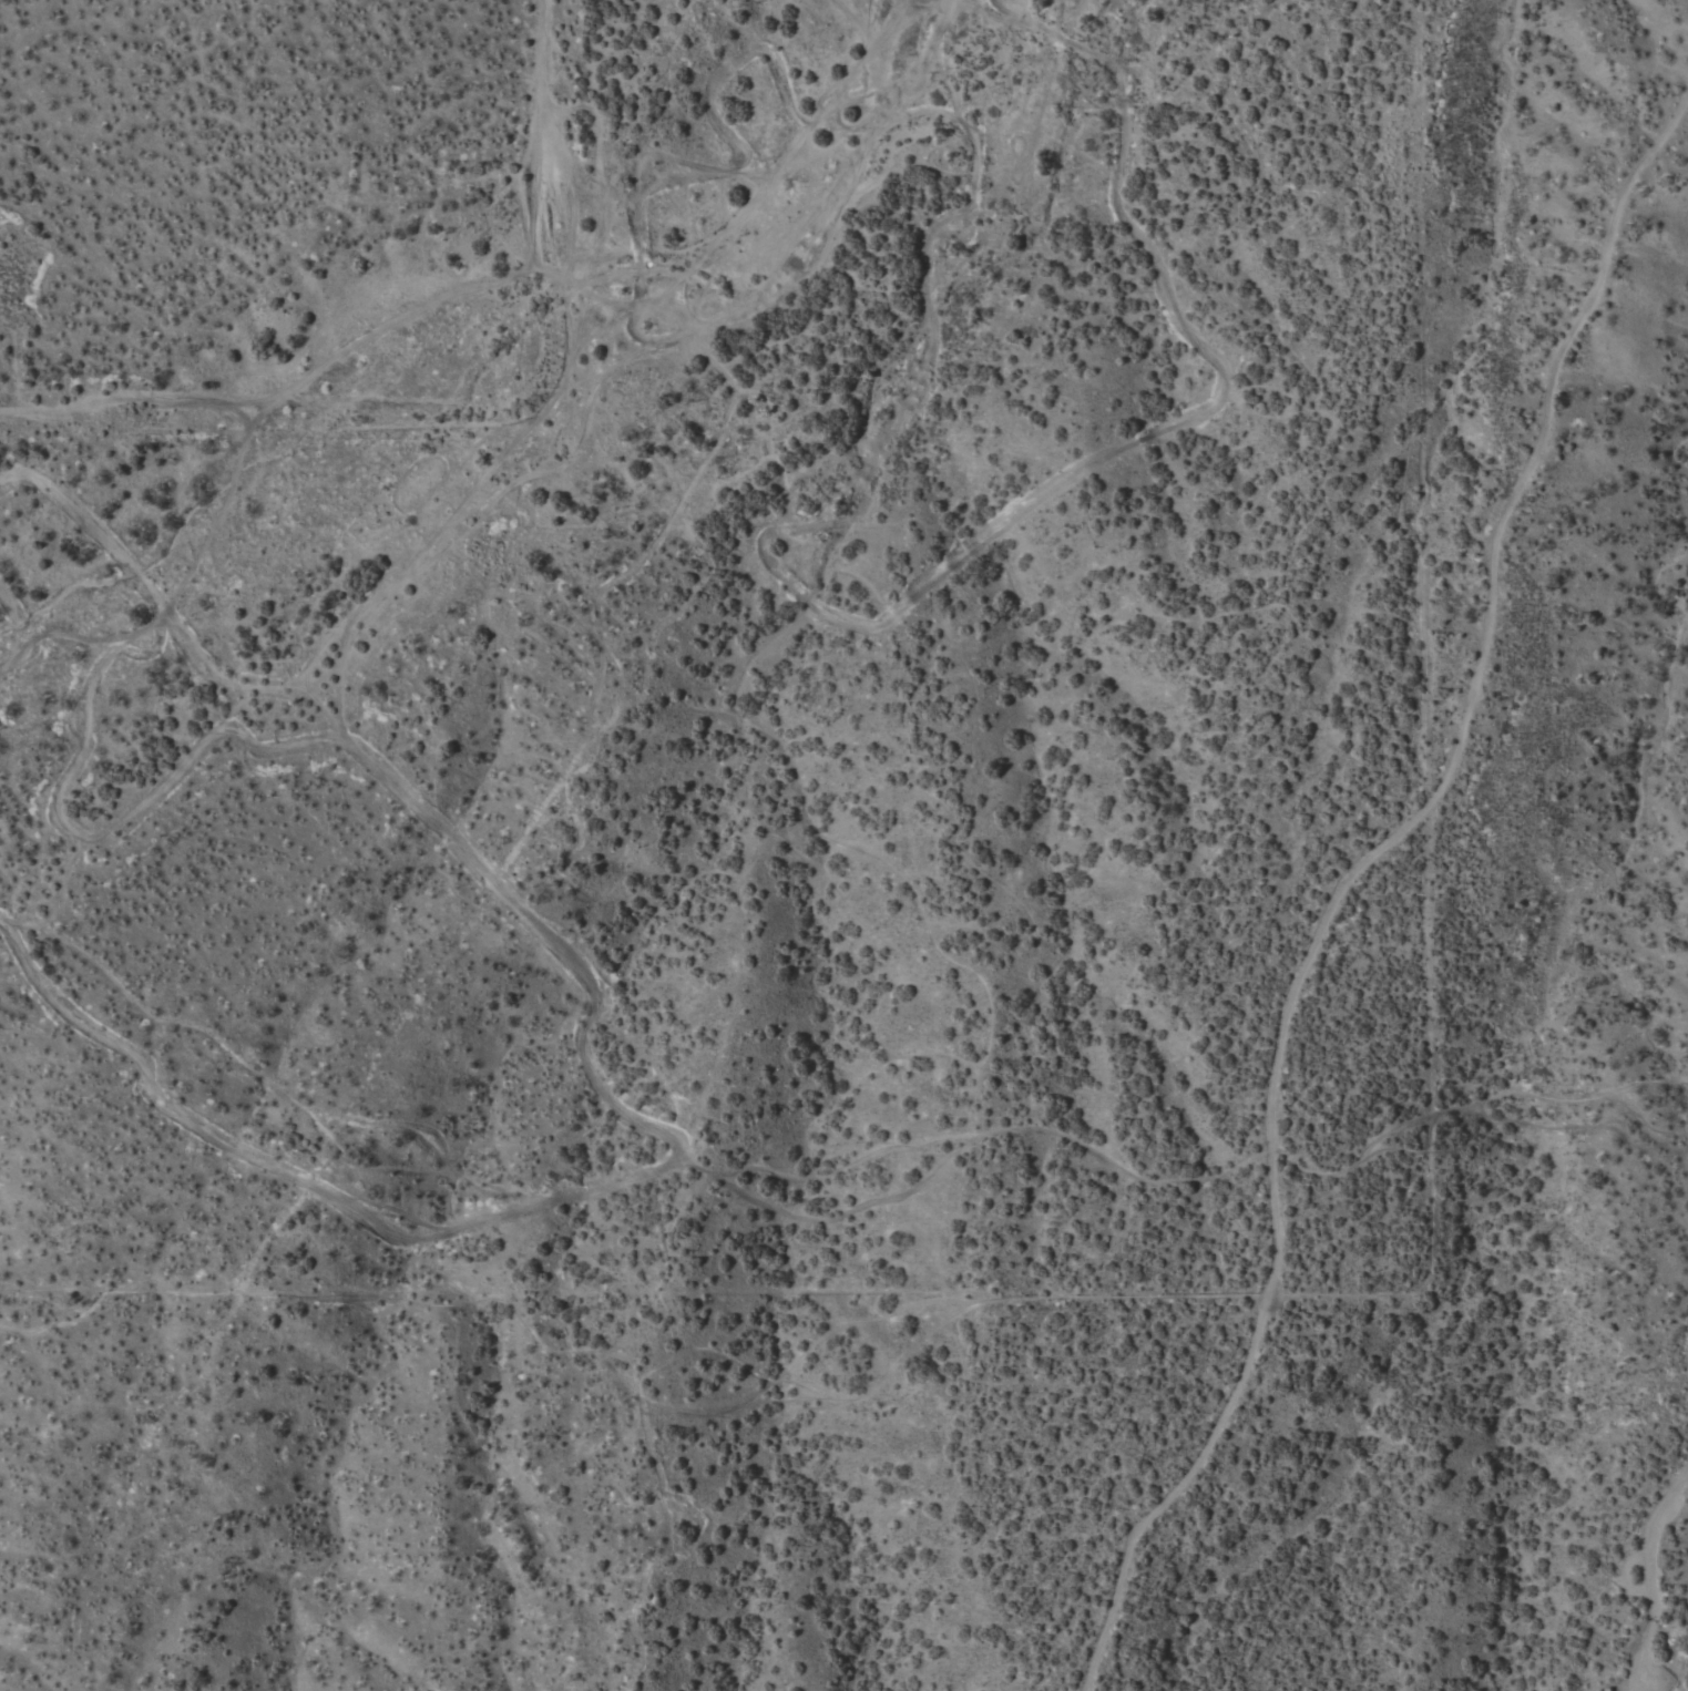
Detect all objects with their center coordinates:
road: (553, 131)
road: (505, 283)
road: (1349, 878)
road: (1653, 1582)

